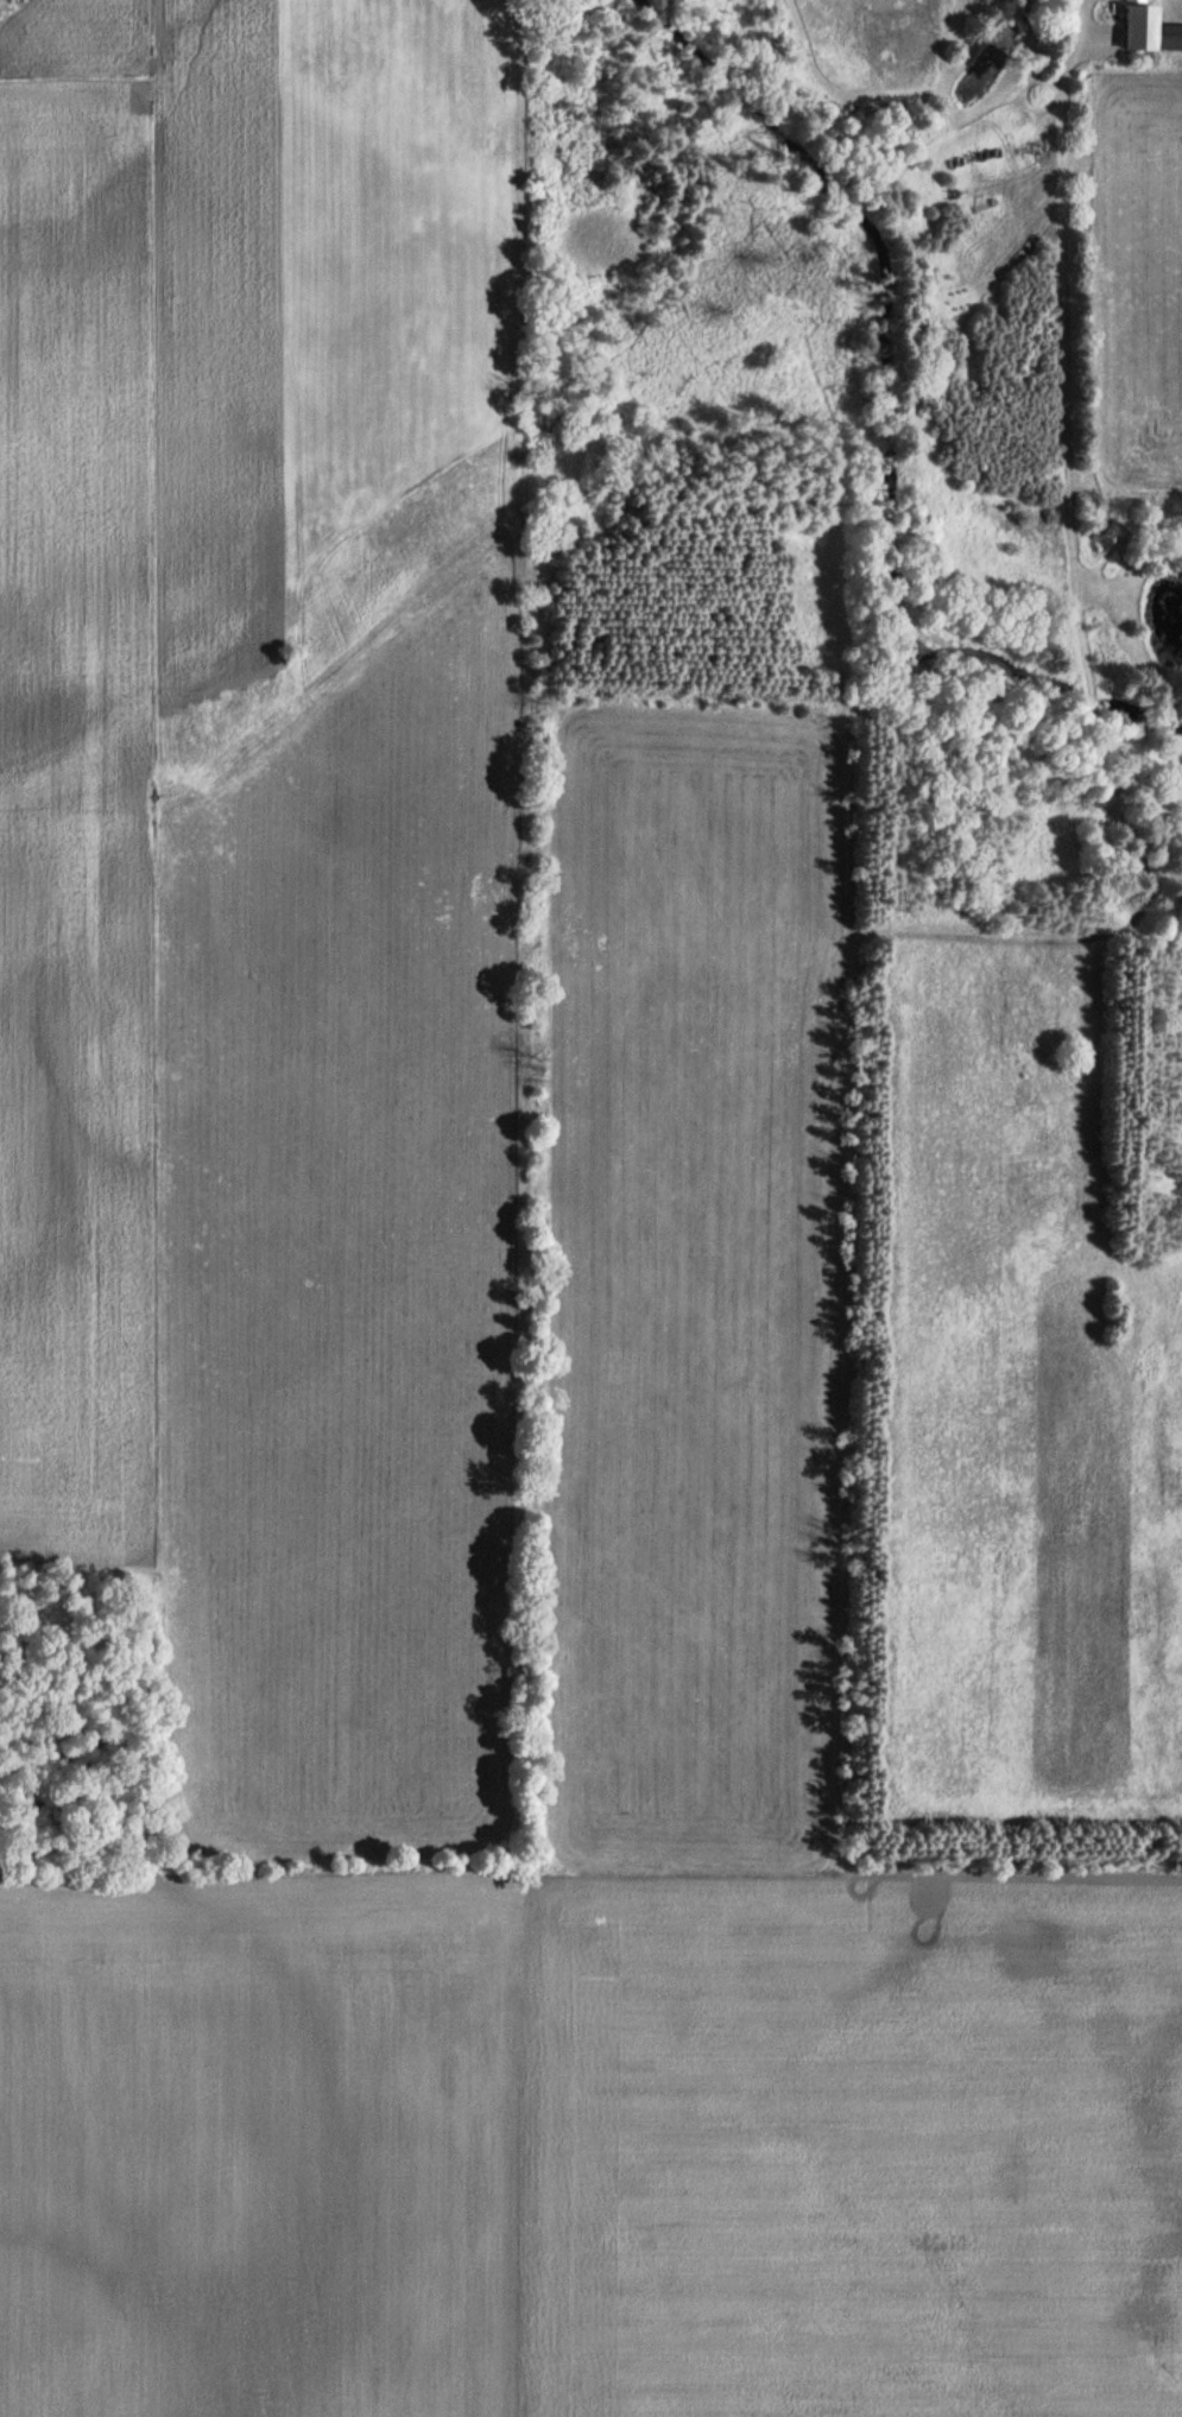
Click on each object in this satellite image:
building: (1153, 26)

